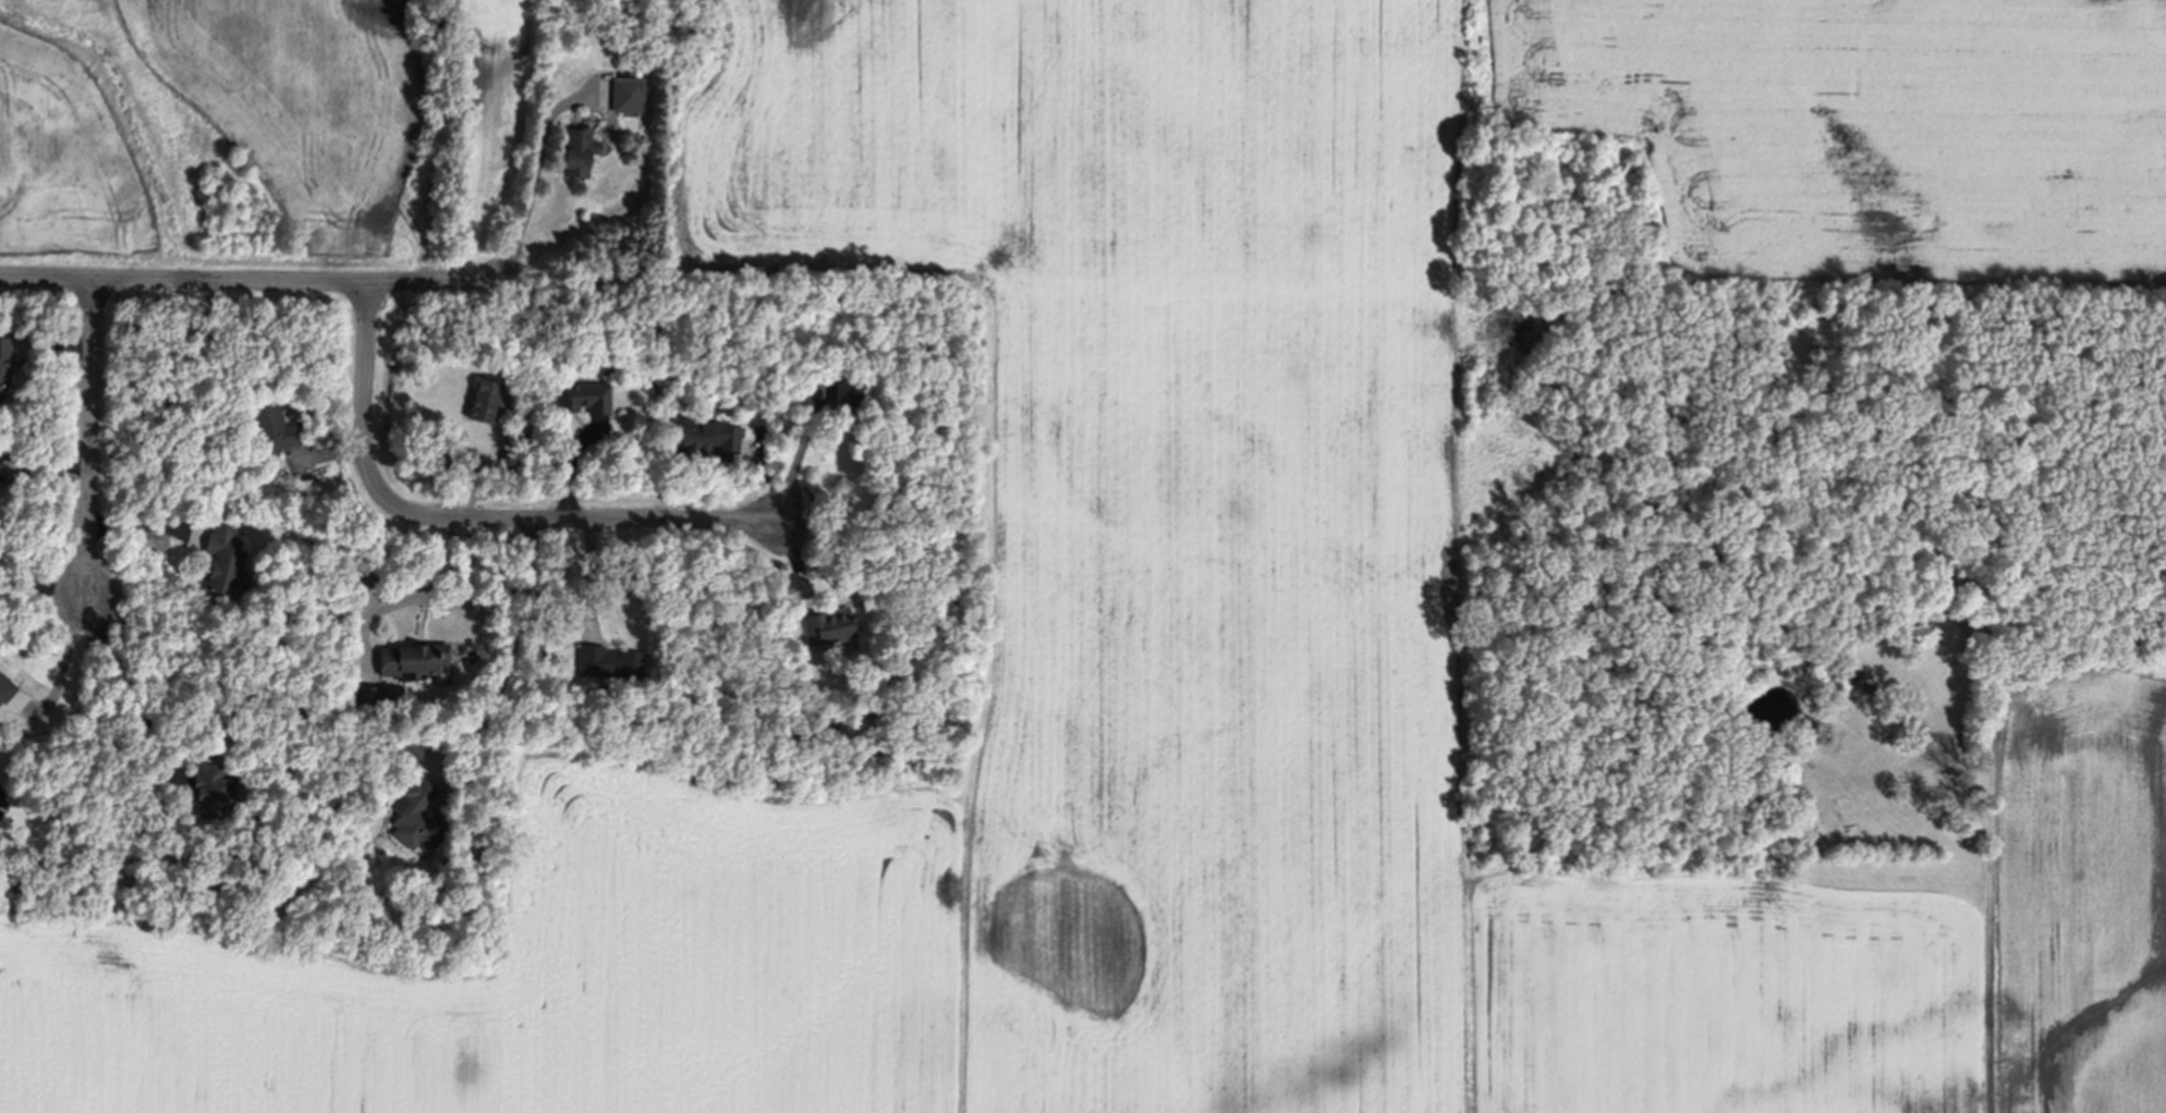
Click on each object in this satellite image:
building: (610, 38)
building: (629, 94)
building: (580, 151)
road: (537, 159)
road: (260, 283)
building: (5, 362)
building: (820, 390)
building: (848, 395)
building: (585, 397)
building: (486, 402)
building: (705, 414)
building: (272, 425)
building: (792, 432)
building: (516, 435)
road: (89, 436)
building: (708, 440)
road: (794, 462)
road: (474, 518)
building: (226, 562)
road: (40, 582)
road: (405, 598)
building: (829, 627)
road: (509, 645)
road: (64, 658)
building: (414, 661)
building: (545, 662)
building: (609, 663)
building: (7, 689)
building: (370, 697)
building: (411, 748)
building: (206, 750)
building: (214, 792)
building: (419, 818)

